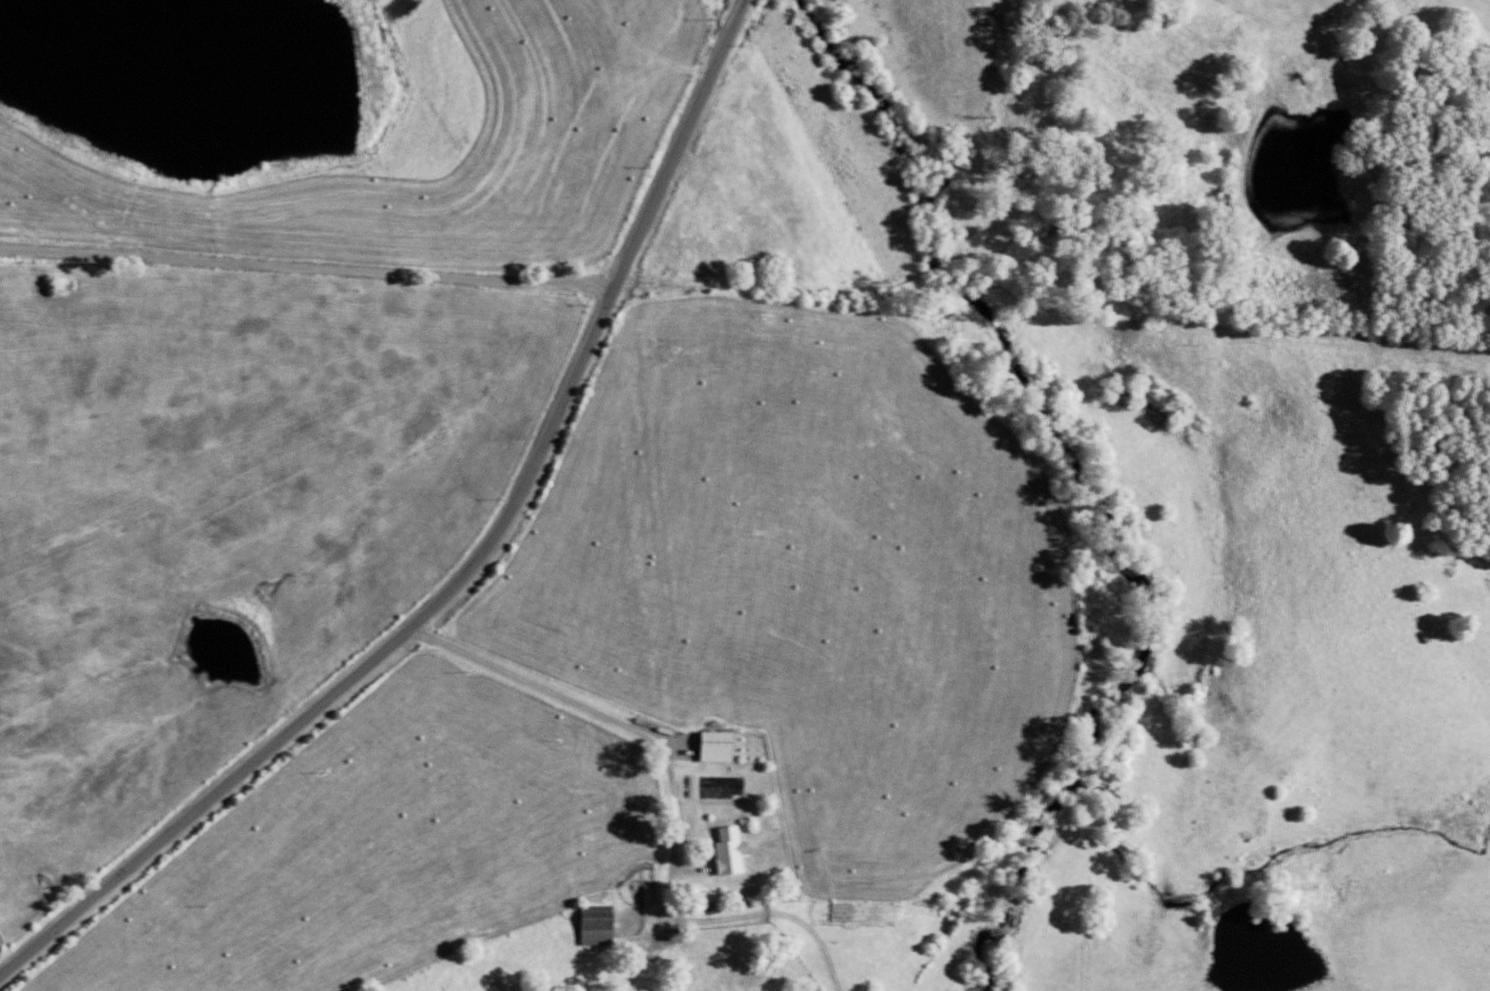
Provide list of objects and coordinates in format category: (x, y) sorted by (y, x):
road: (306, 267)
road: (474, 563)
road: (648, 740)
building: (723, 745)
building: (736, 850)
building: (602, 924)

